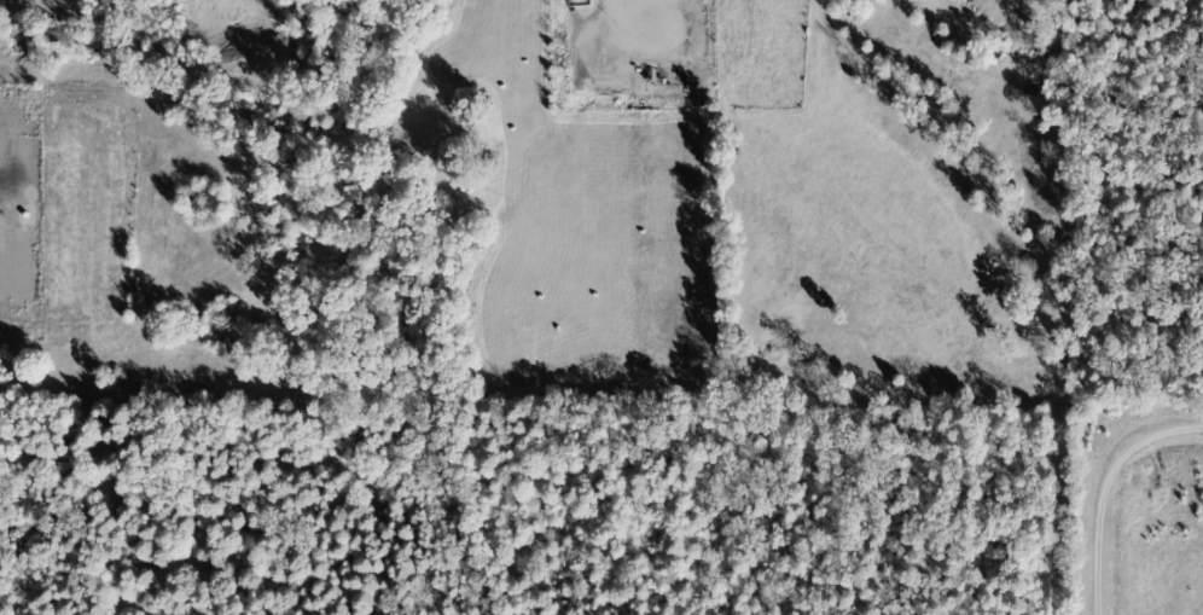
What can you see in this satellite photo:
road: (935, 64)

